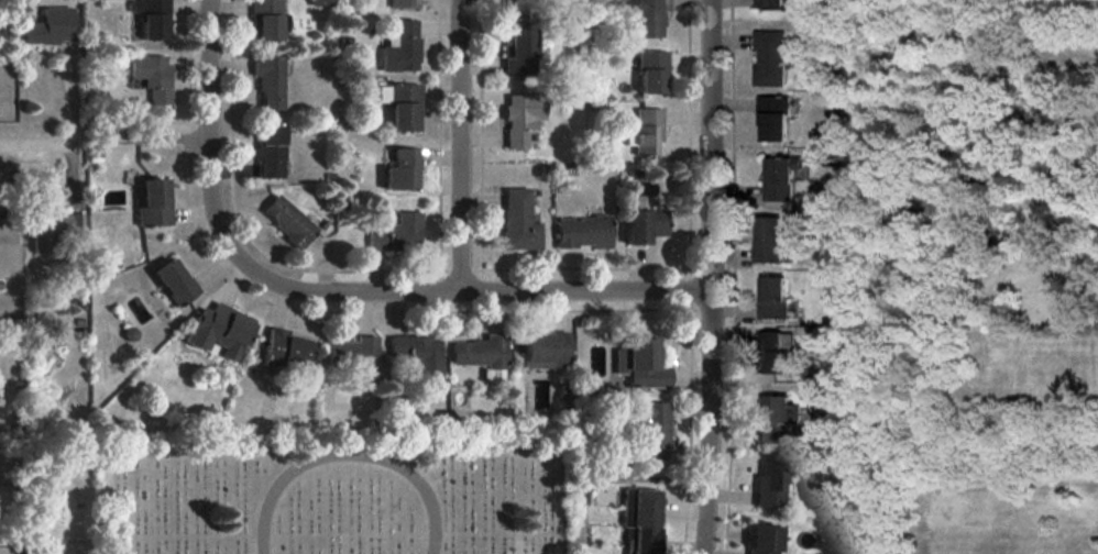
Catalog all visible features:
building: (404, 3)
building: (768, 3)
building: (515, 9)
building: (648, 15)
building: (152, 18)
building: (265, 20)
building: (50, 26)
building: (400, 46)
building: (517, 53)
building: (769, 58)
road: (206, 71)
building: (651, 71)
building: (151, 75)
building: (268, 80)
building: (400, 104)
building: (773, 117)
building: (520, 118)
building: (647, 132)
road: (36, 142)
road: (457, 142)
building: (270, 151)
building: (402, 169)
building: (780, 181)
building: (153, 202)
building: (287, 220)
building: (518, 220)
building: (645, 224)
building: (584, 231)
building: (397, 232)
building: (769, 241)
road: (709, 277)
building: (175, 280)
road: (409, 285)
building: (772, 297)
building: (220, 330)
building: (131, 333)
building: (285, 347)
building: (546, 348)
building: (775, 351)
building: (417, 352)
building: (354, 355)
building: (482, 355)
building: (640, 363)
building: (770, 417)
building: (652, 430)
road: (345, 453)
building: (770, 484)
park: (331, 496)
building: (641, 518)
building: (764, 539)

